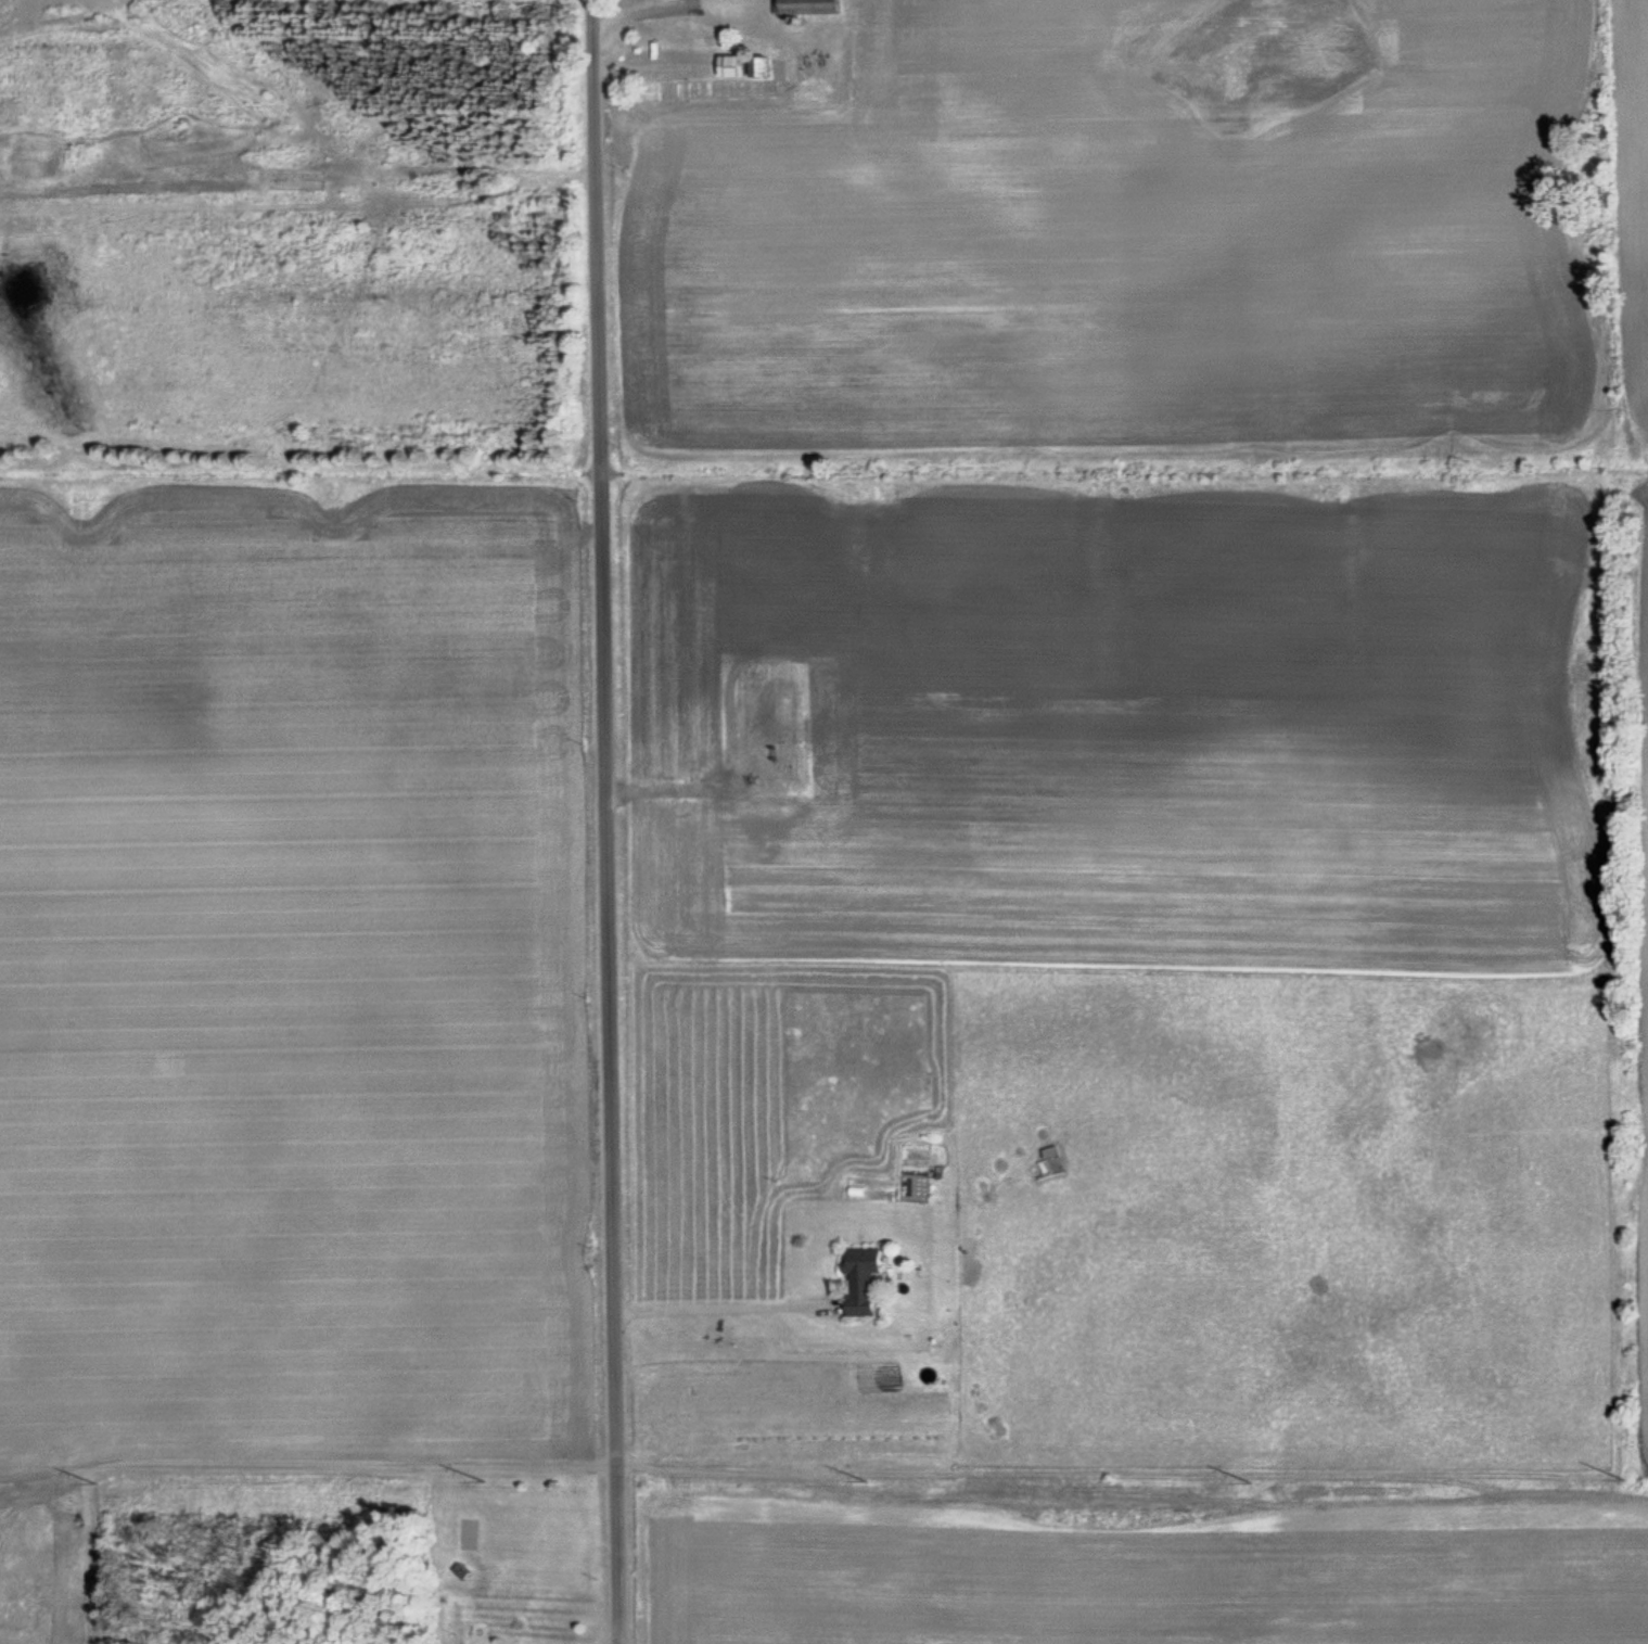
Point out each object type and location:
building: (807, 7)
building: (758, 67)
building: (767, 745)
road: (604, 821)
building: (859, 1280)

